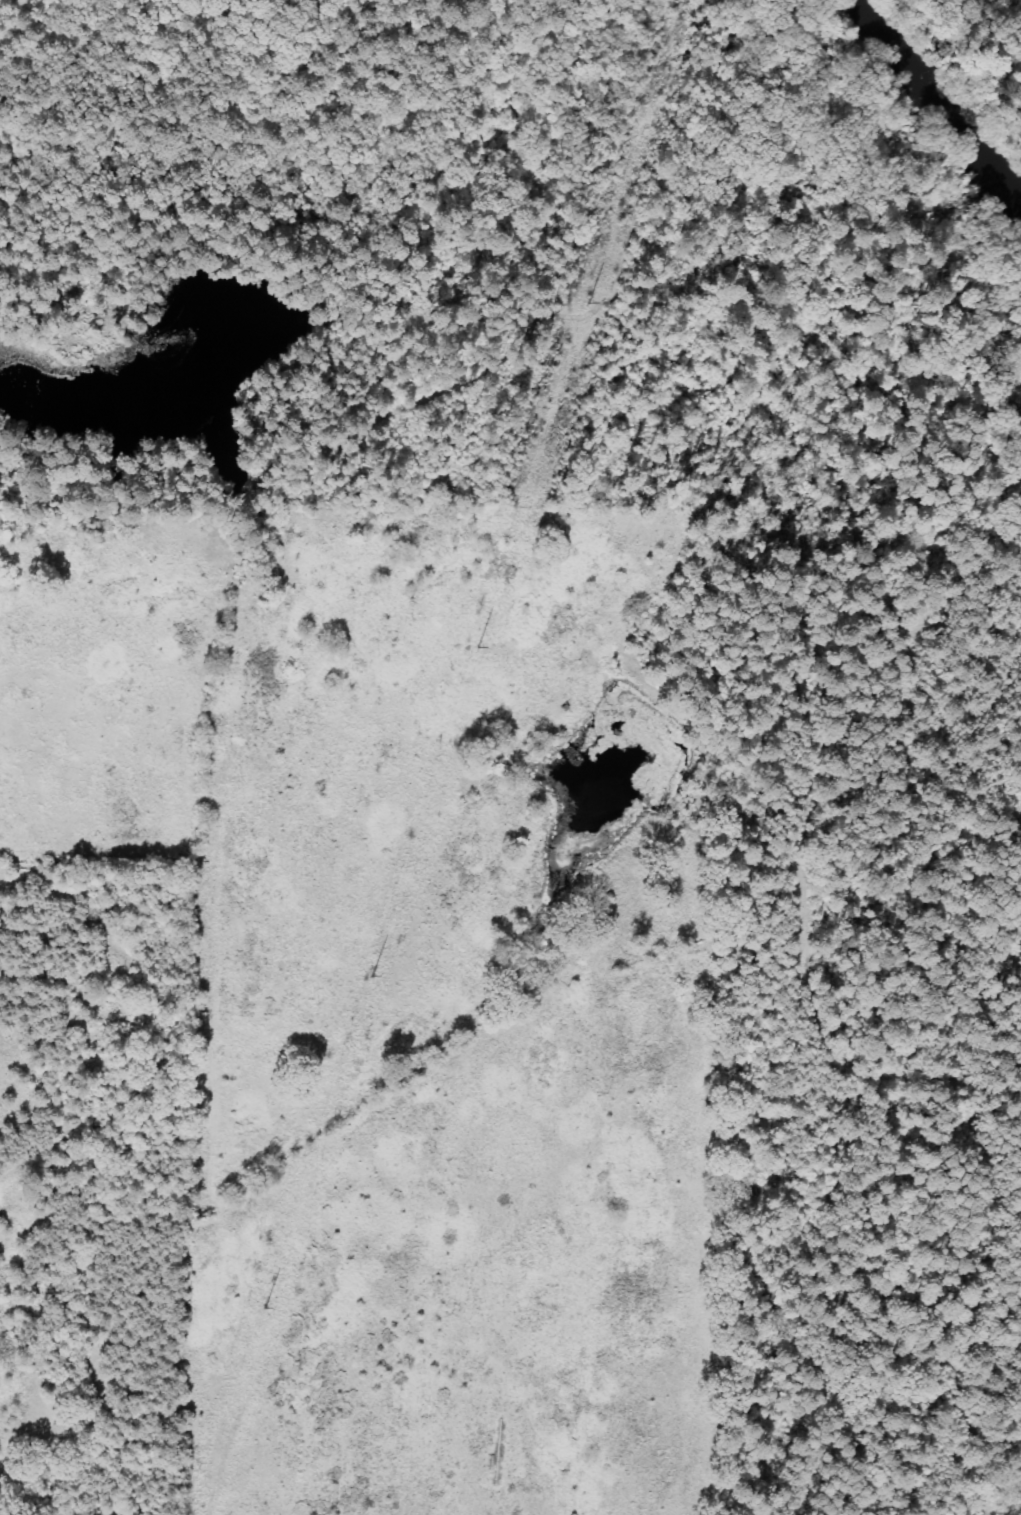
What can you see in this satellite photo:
power tower: (588, 302)
power tower: (478, 646)
power tower: (371, 976)
power tower: (263, 1308)

